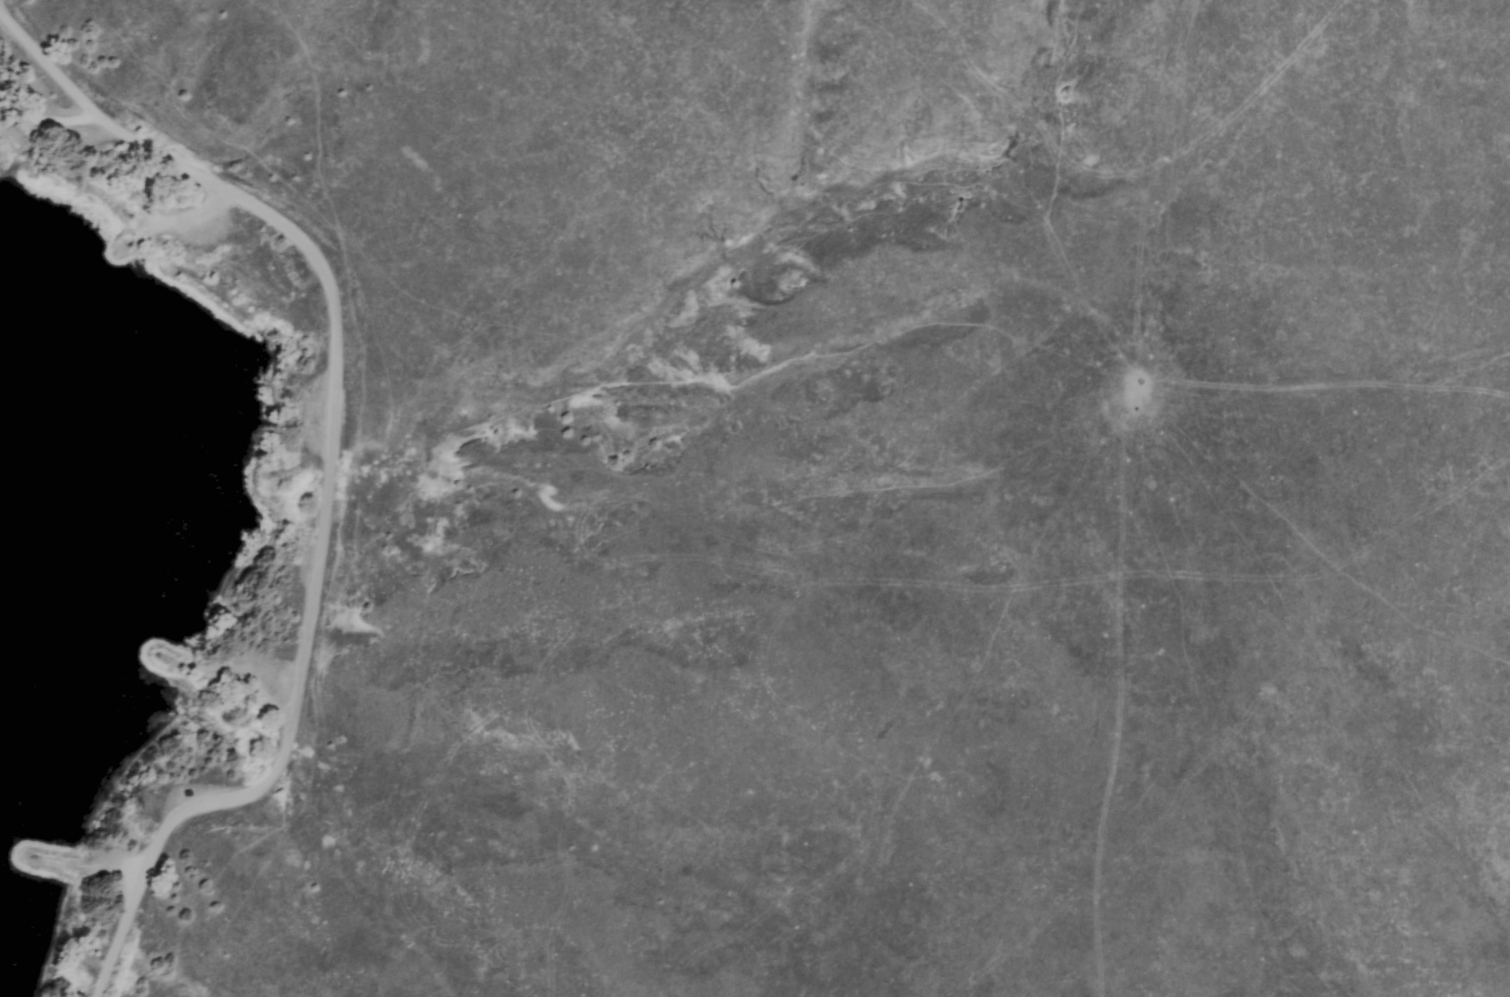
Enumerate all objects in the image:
road: (333, 465)
park: (148, 506)

